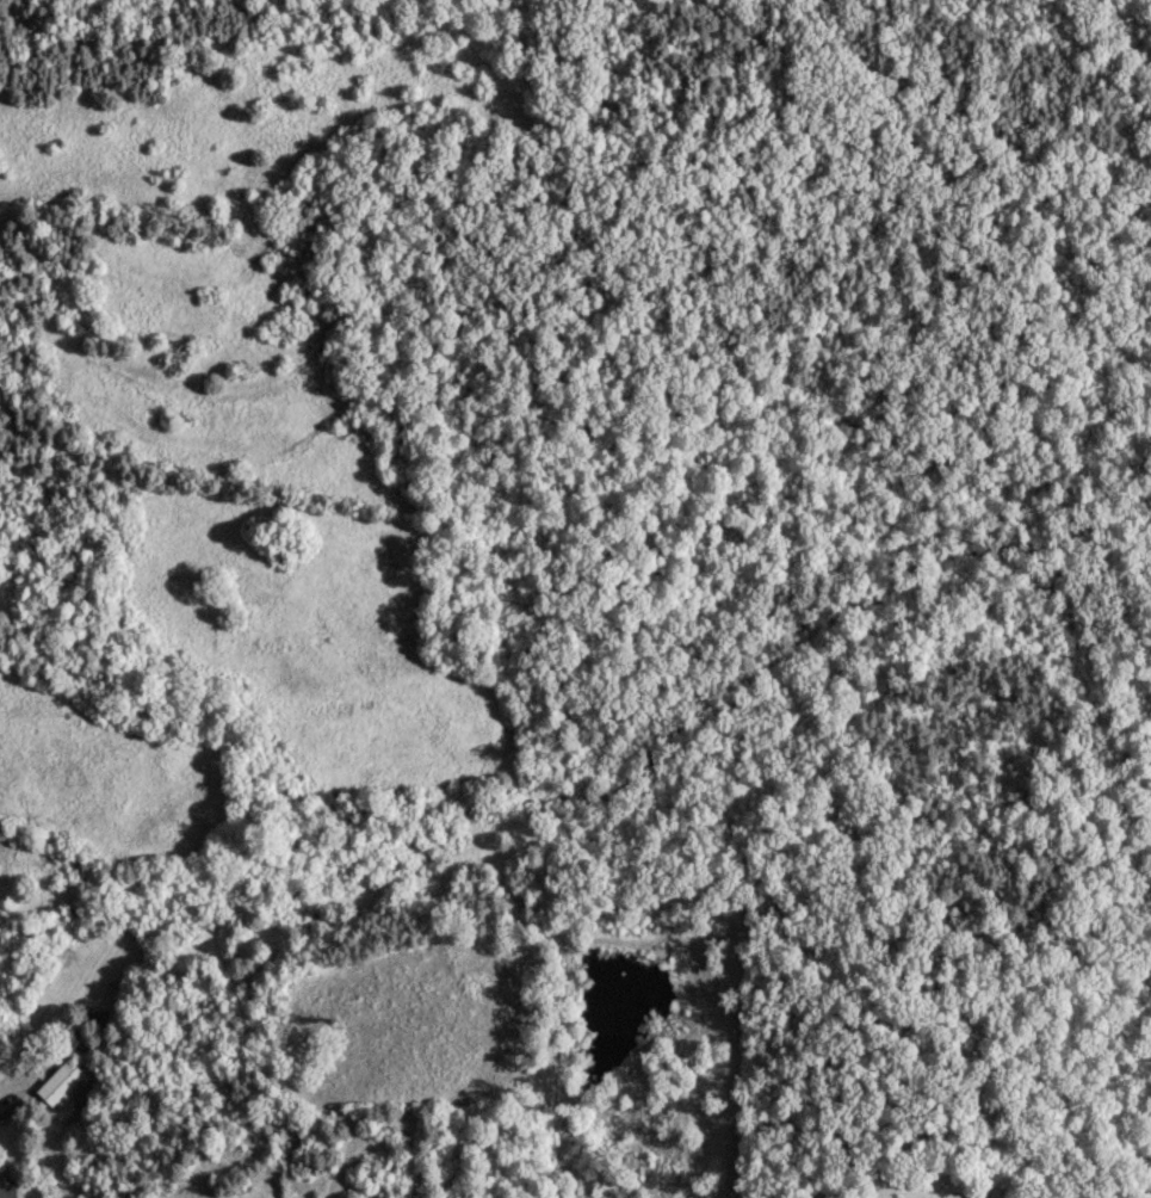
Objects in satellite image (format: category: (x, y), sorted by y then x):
building: (660, 952)
building: (57, 1080)
road: (8, 1088)
building: (4, 1181)

